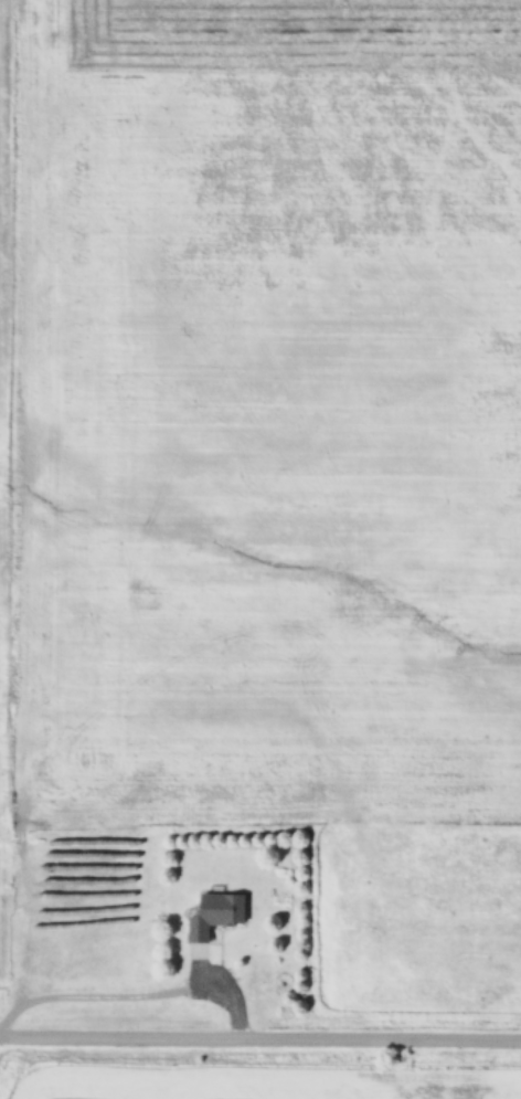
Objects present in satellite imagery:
building: (220, 916)
road: (259, 1038)

